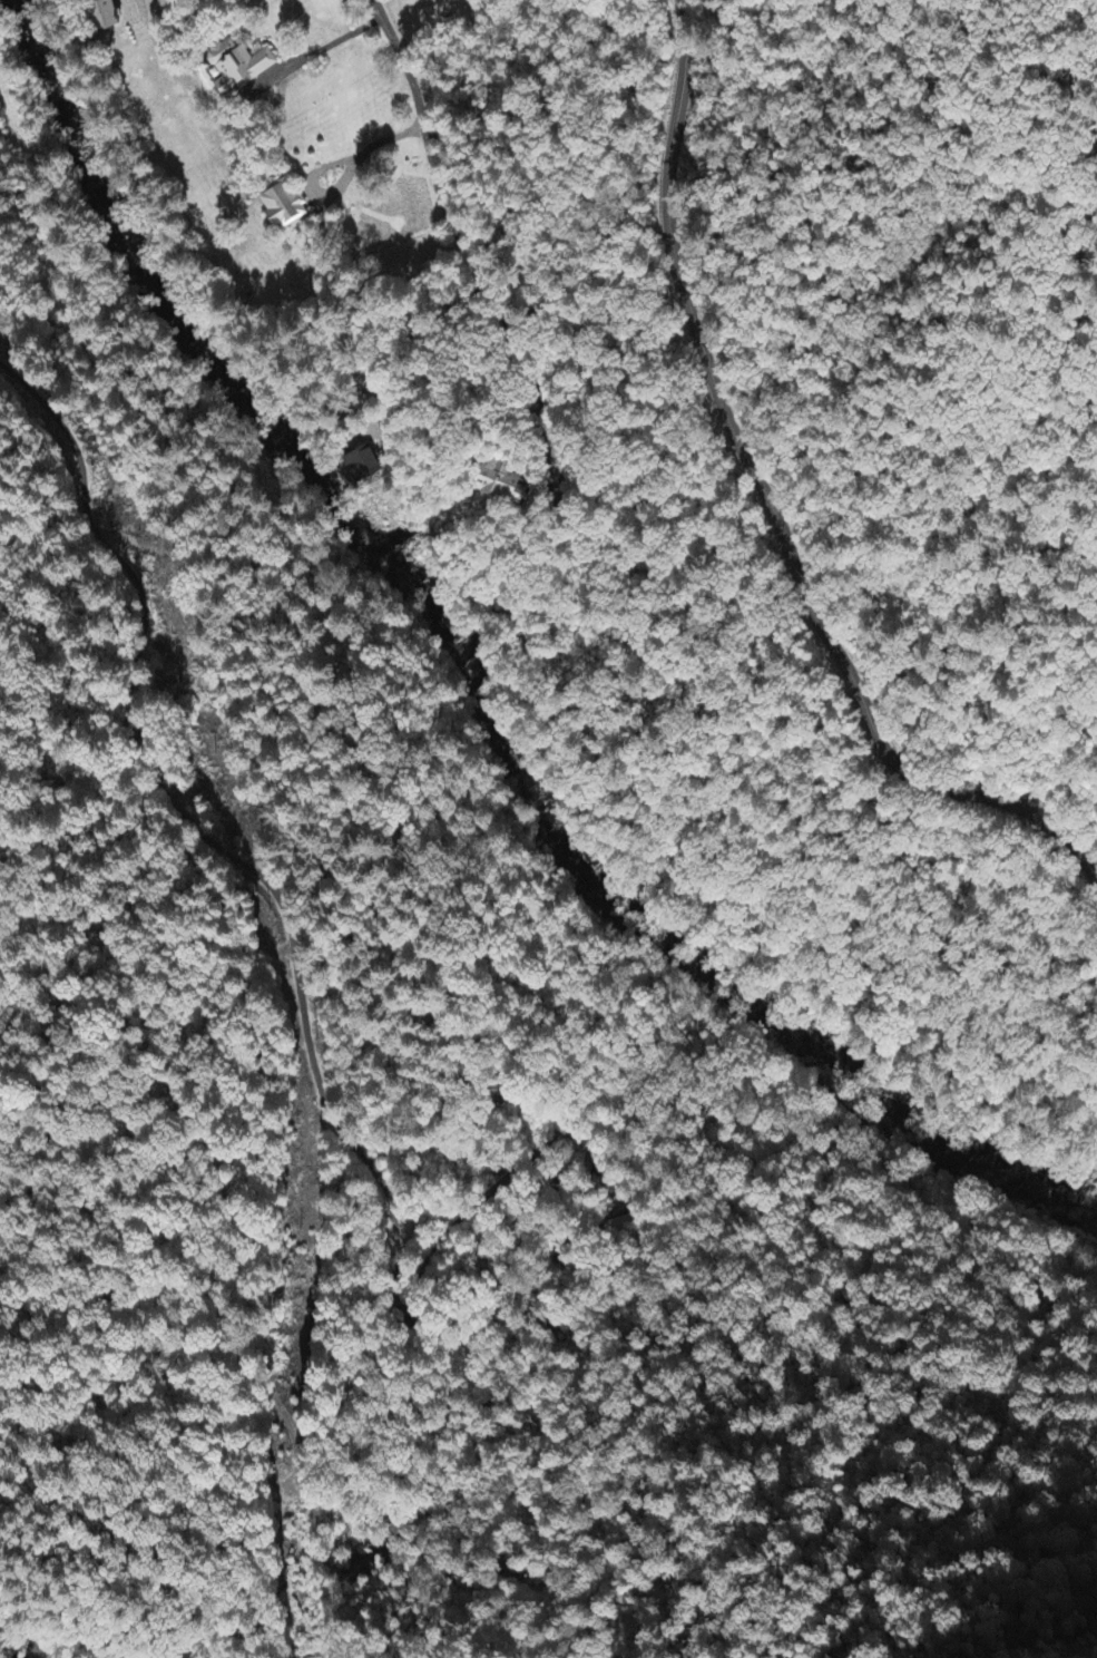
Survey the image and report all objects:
building: (99, 16)
road: (333, 45)
building: (231, 67)
road: (369, 153)
road: (443, 199)
building: (284, 206)
building: (360, 455)
building: (500, 484)
river: (341, 495)
road: (770, 507)
river: (878, 1100)

